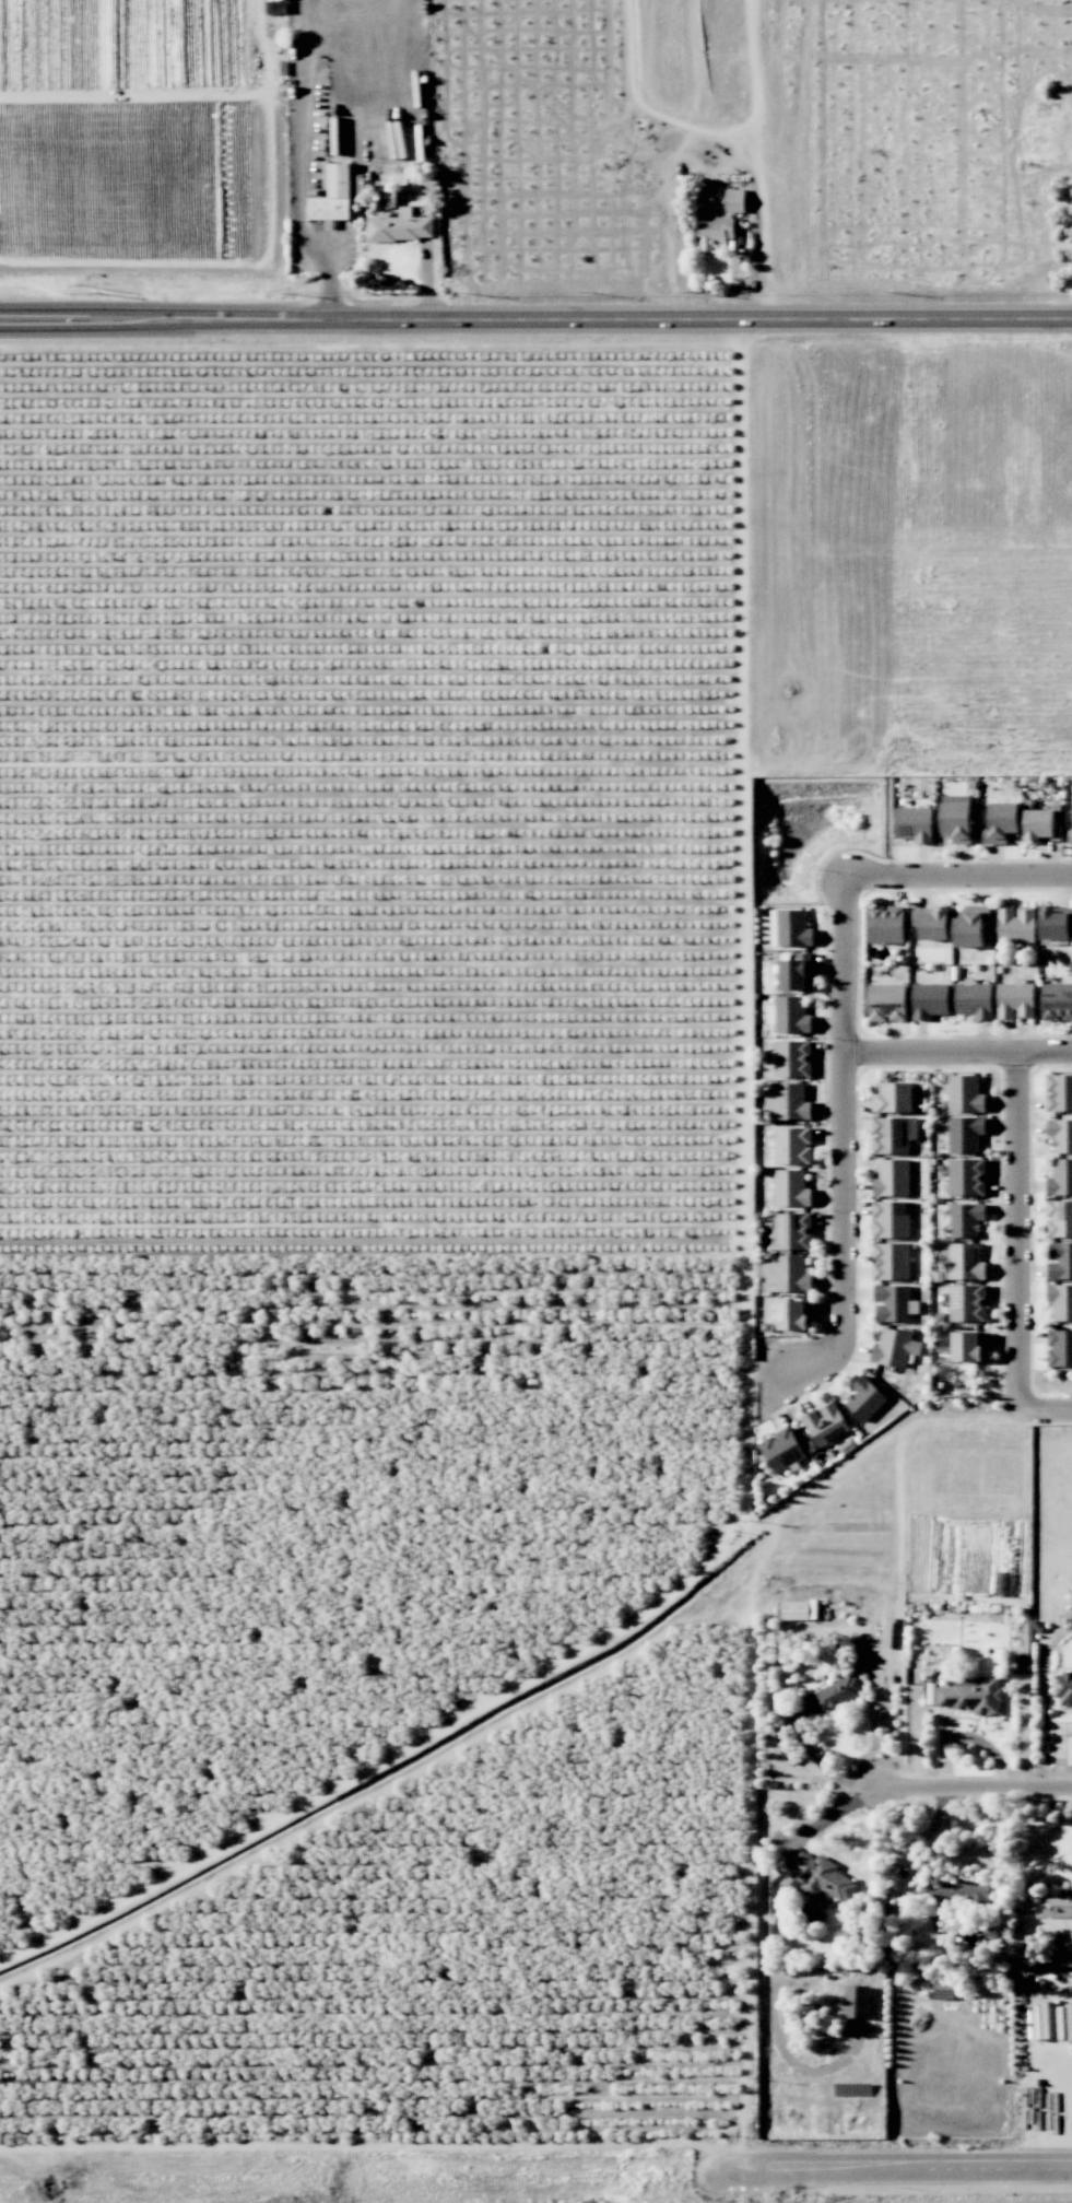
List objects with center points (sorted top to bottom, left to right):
road: (952, 157)
road: (906, 159)
building: (338, 192)
building: (735, 200)
building: (400, 226)
building: (715, 232)
road: (535, 318)
building: (956, 822)
building: (915, 823)
building: (1002, 823)
building: (1041, 827)
building: (1070, 835)
road: (955, 877)
building: (1055, 922)
building: (931, 923)
building: (885, 924)
building: (1016, 924)
building: (969, 927)
building: (793, 928)
building: (796, 972)
building: (974, 999)
building: (929, 1000)
building: (1014, 1000)
building: (1057, 1000)
building: (887, 1003)
building: (790, 1016)
road: (954, 1050)
building: (792, 1058)
building: (1059, 1092)
building: (966, 1094)
building: (898, 1098)
building: (788, 1101)
road: (838, 1118)
building: (965, 1134)
building: (894, 1135)
building: (1060, 1135)
building: (792, 1146)
building: (893, 1177)
building: (967, 1177)
building: (1060, 1177)
building: (791, 1188)
building: (1059, 1218)
building: (891, 1219)
building: (966, 1219)
building: (793, 1230)
road: (1020, 1230)
building: (892, 1261)
building: (1060, 1261)
building: (963, 1262)
building: (790, 1273)
building: (1061, 1301)
building: (968, 1302)
building: (894, 1303)
building: (794, 1315)
building: (968, 1346)
building: (895, 1348)
building: (1059, 1348)
road: (803, 1379)
building: (864, 1398)
road: (1053, 1408)
building: (826, 1423)
building: (782, 1450)
road: (756, 1570)
building: (796, 1610)
building: (1064, 1690)
building: (971, 1695)
building: (833, 1697)
road: (404, 1744)
road: (974, 1793)
road: (825, 1819)
building: (818, 1878)
building: (958, 1896)
building: (1056, 1905)
building: (941, 1923)
building: (943, 1990)
building: (857, 2001)
road: (657, 2143)
road: (897, 2166)

